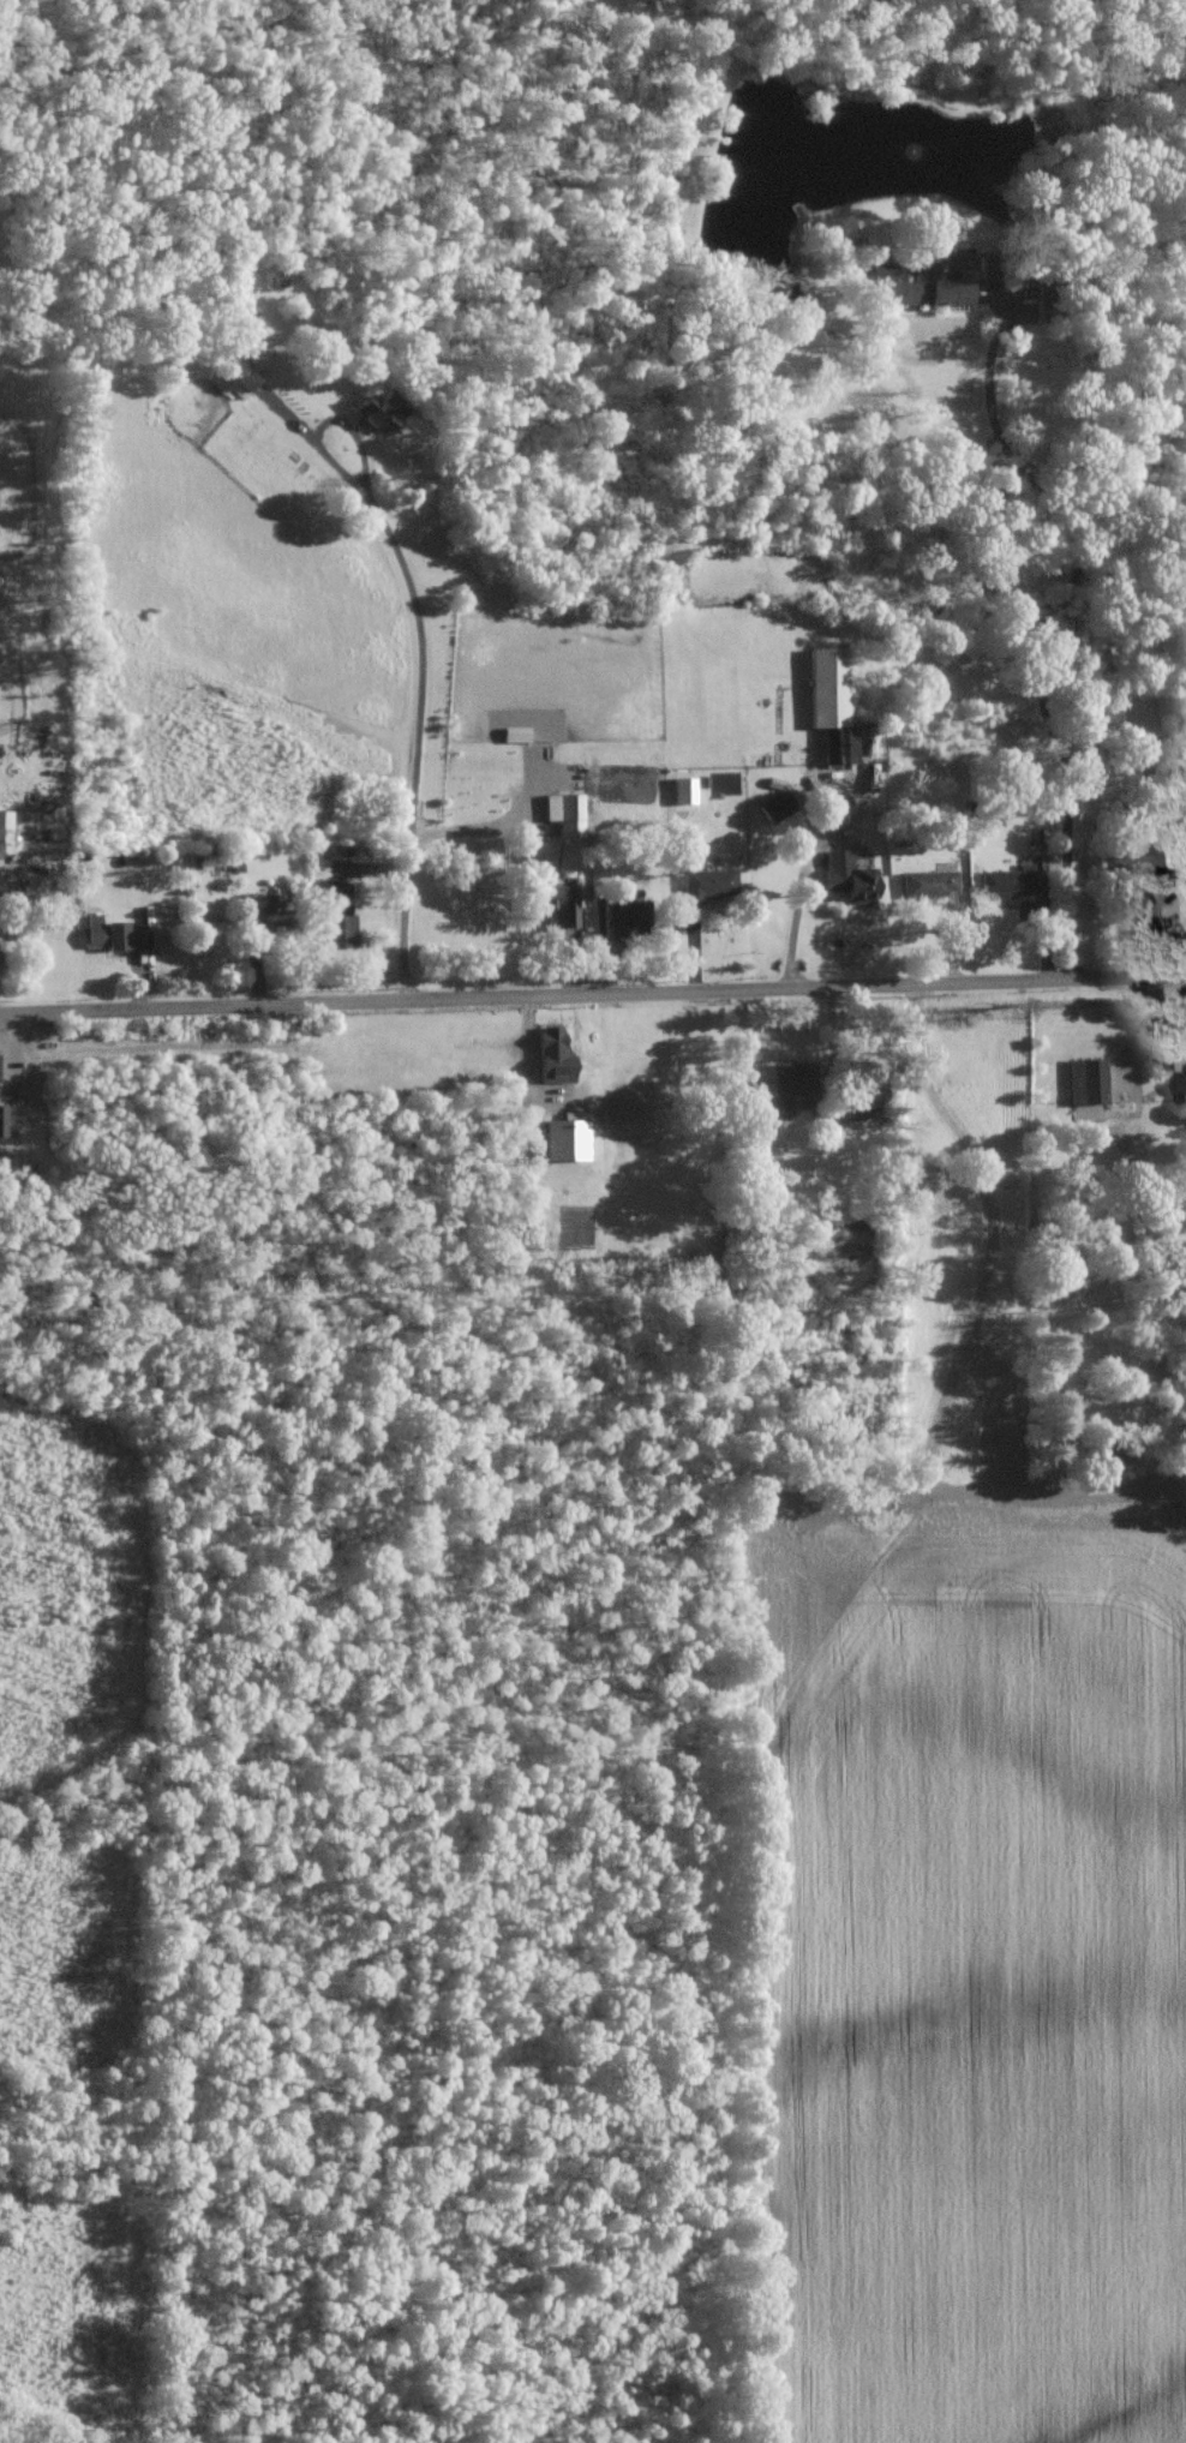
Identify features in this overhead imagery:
building: (916, 285)
building: (234, 376)
building: (379, 408)
road: (1058, 627)
road: (425, 670)
building: (833, 700)
building: (685, 790)
building: (781, 803)
building: (565, 813)
road: (472, 828)
building: (5, 832)
building: (1132, 861)
building: (849, 876)
building: (1011, 881)
building: (930, 882)
building: (707, 885)
building: (553, 902)
building: (275, 912)
building: (341, 915)
building: (628, 915)
road: (796, 915)
building: (113, 933)
road: (592, 992)
building: (555, 1055)
building: (1088, 1080)
building: (793, 1086)
building: (1180, 1086)
building: (863, 1098)
building: (2, 1120)
building: (565, 1139)
building: (2, 1160)
road: (965, 1345)

